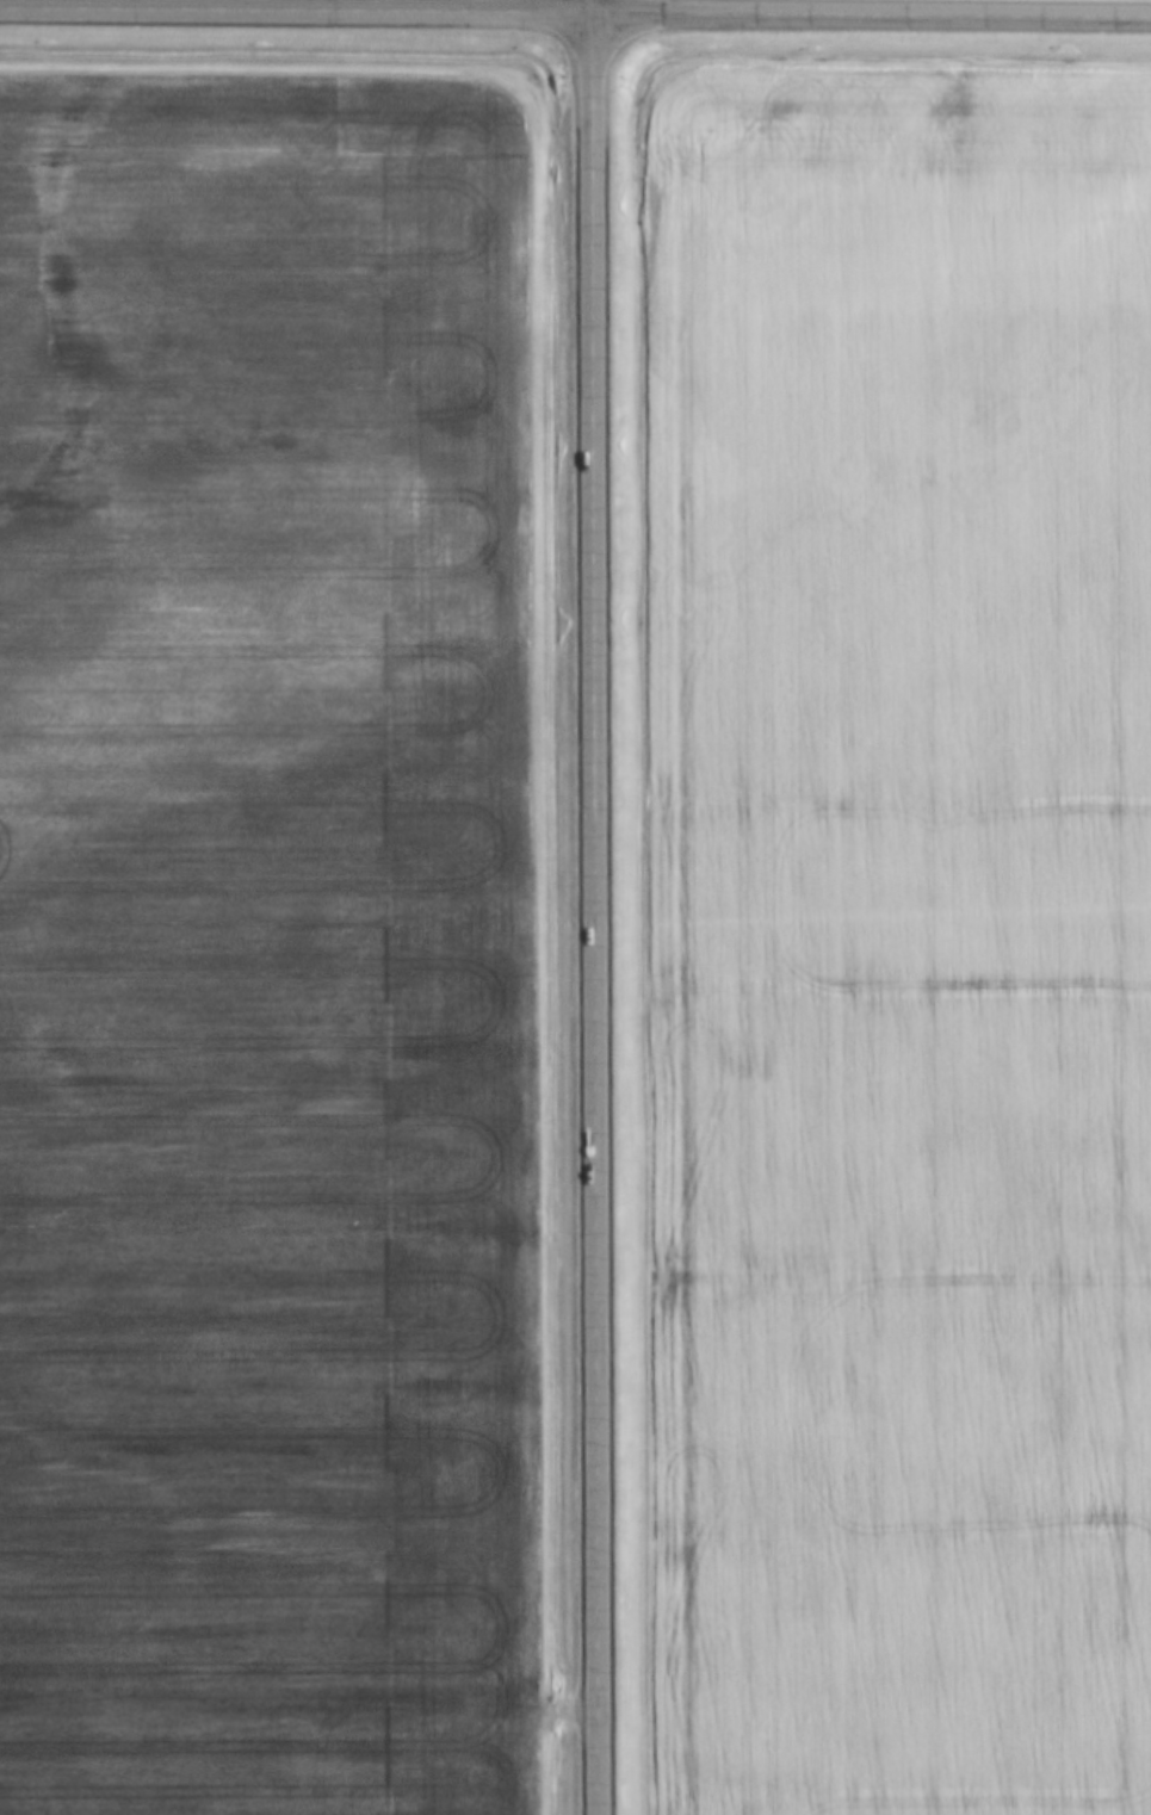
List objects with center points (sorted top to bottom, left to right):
road: (600, 7)
road: (301, 11)
road: (875, 16)
road: (602, 915)

